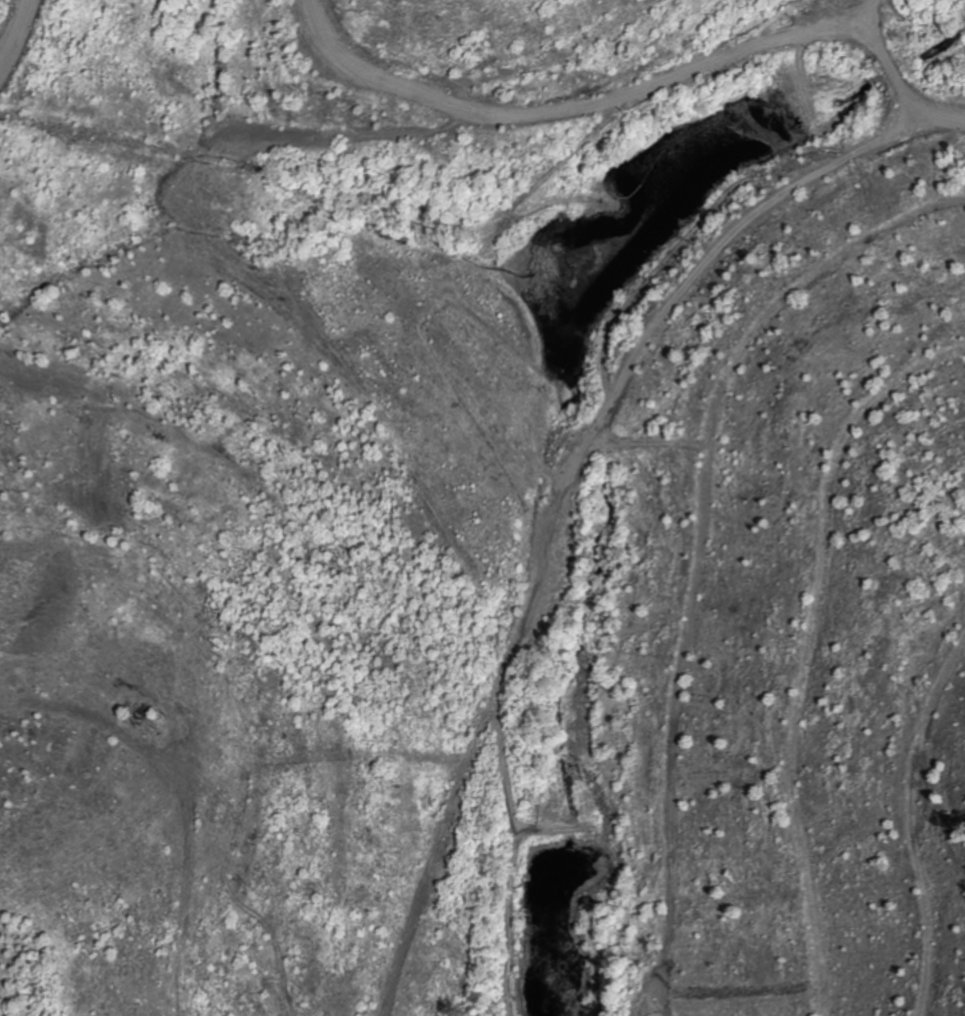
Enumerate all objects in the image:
building: (581, 256)
quarry: (486, 714)

